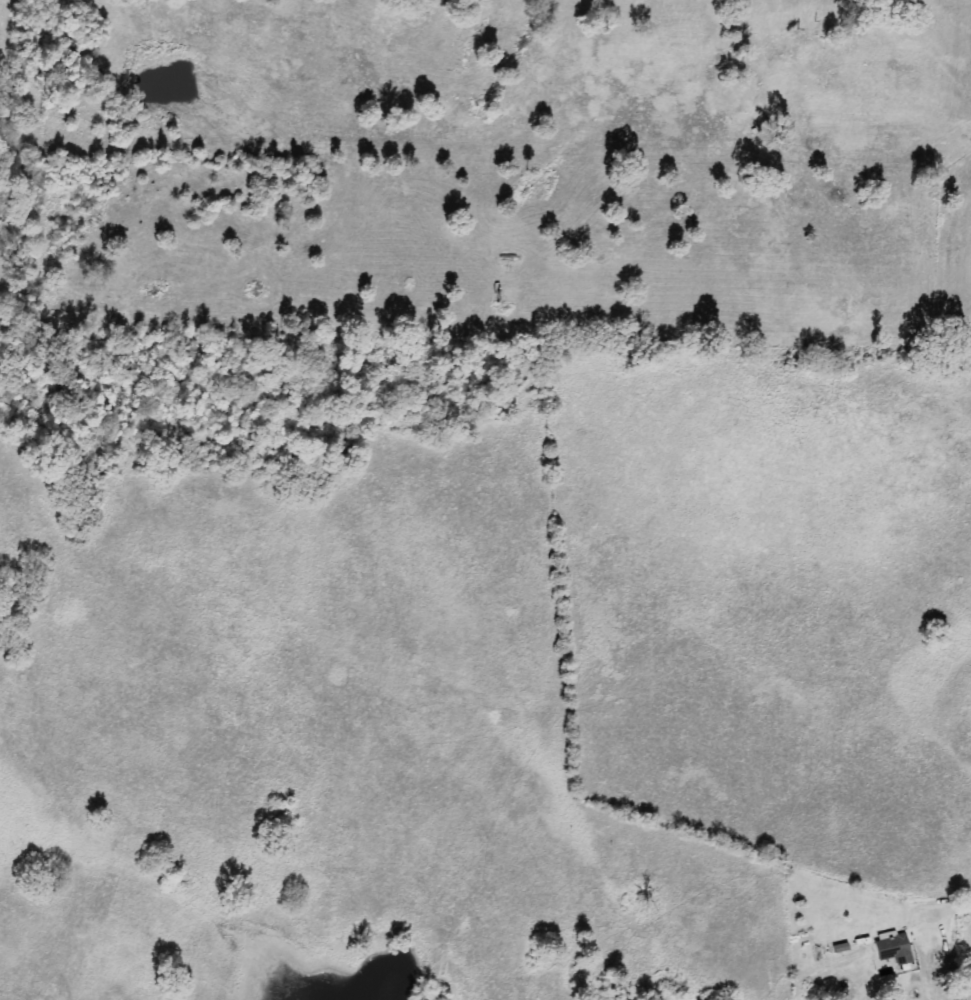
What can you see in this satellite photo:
building: (893, 947)
building: (840, 948)

